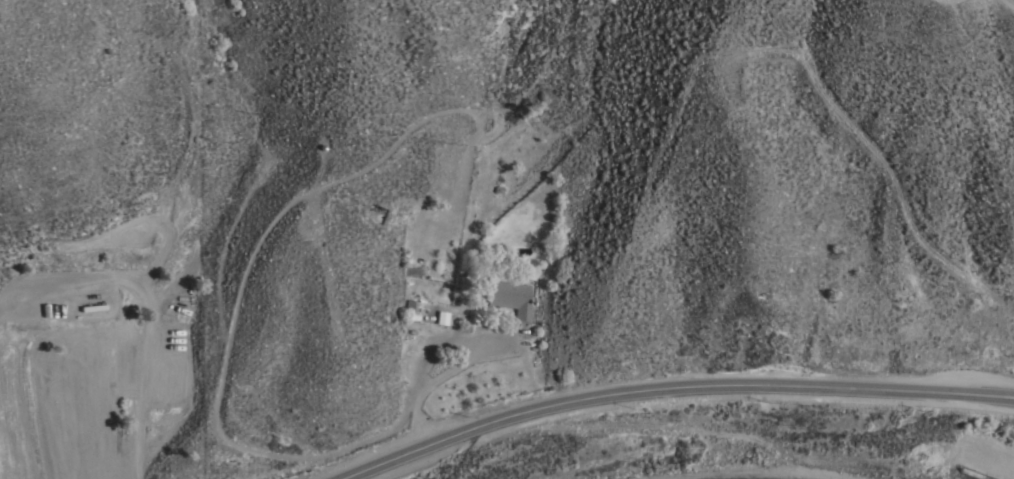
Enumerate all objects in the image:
building: (509, 298)
building: (440, 317)
road: (456, 365)
road: (670, 388)

